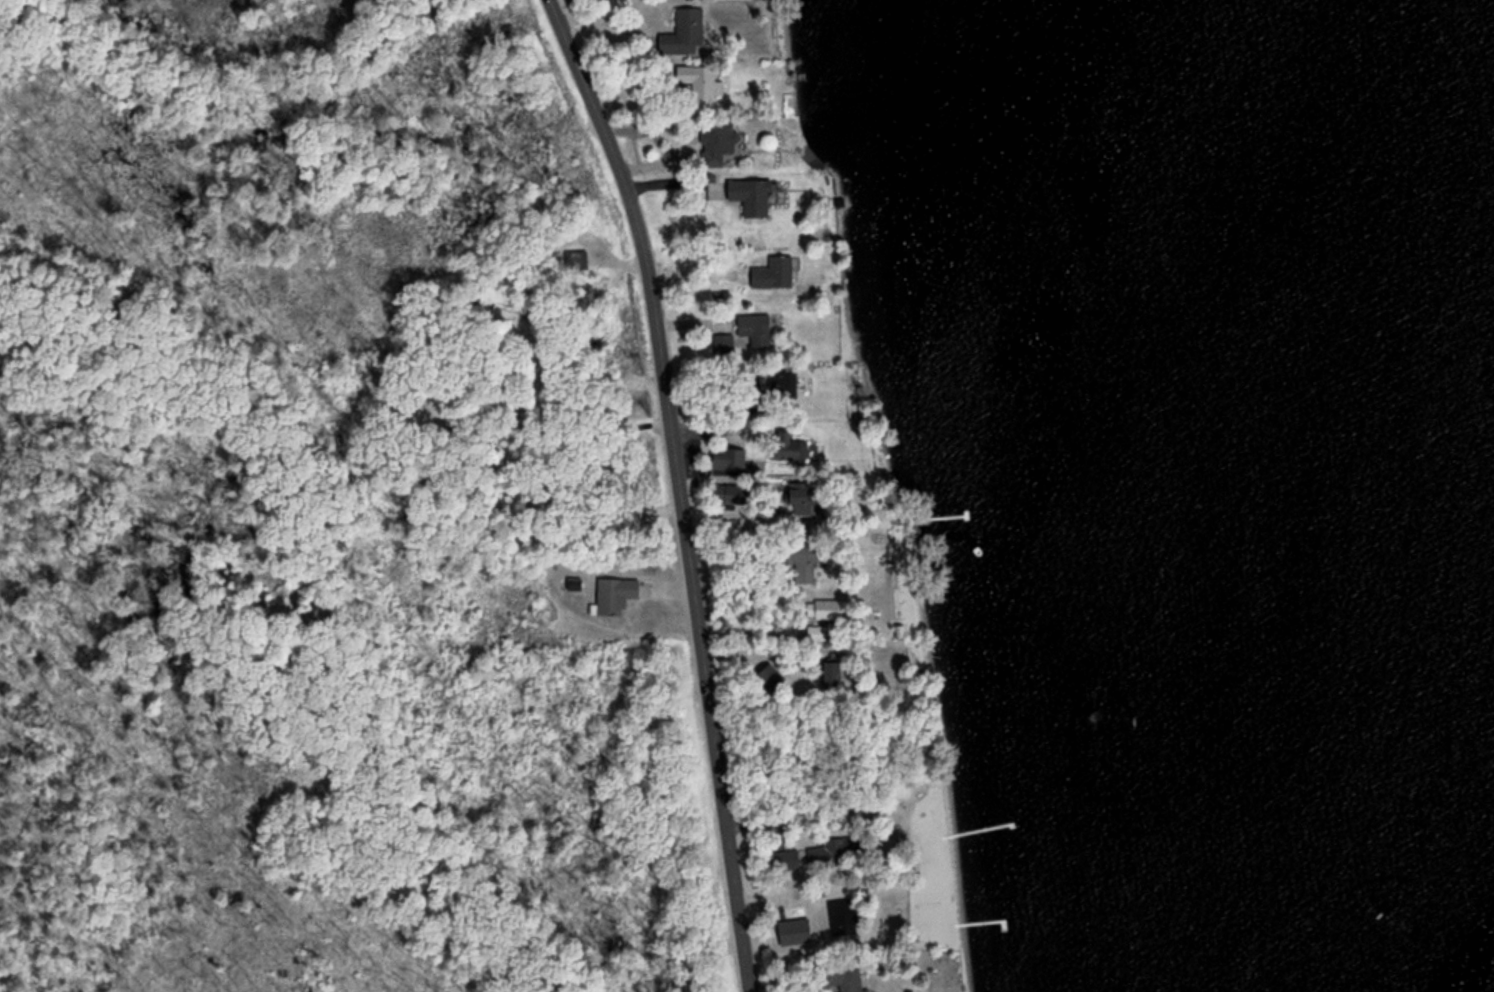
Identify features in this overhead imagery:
building: (1245, 9)
building: (681, 32)
building: (697, 87)
building: (715, 137)
building: (748, 195)
building: (775, 270)
building: (751, 328)
building: (781, 379)
building: (782, 443)
building: (725, 455)
road: (679, 488)
building: (728, 492)
building: (794, 499)
building: (798, 556)
building: (613, 592)
building: (823, 607)
building: (815, 630)
building: (826, 671)
building: (762, 674)
building: (829, 850)
building: (782, 857)
building: (840, 910)
building: (848, 979)

